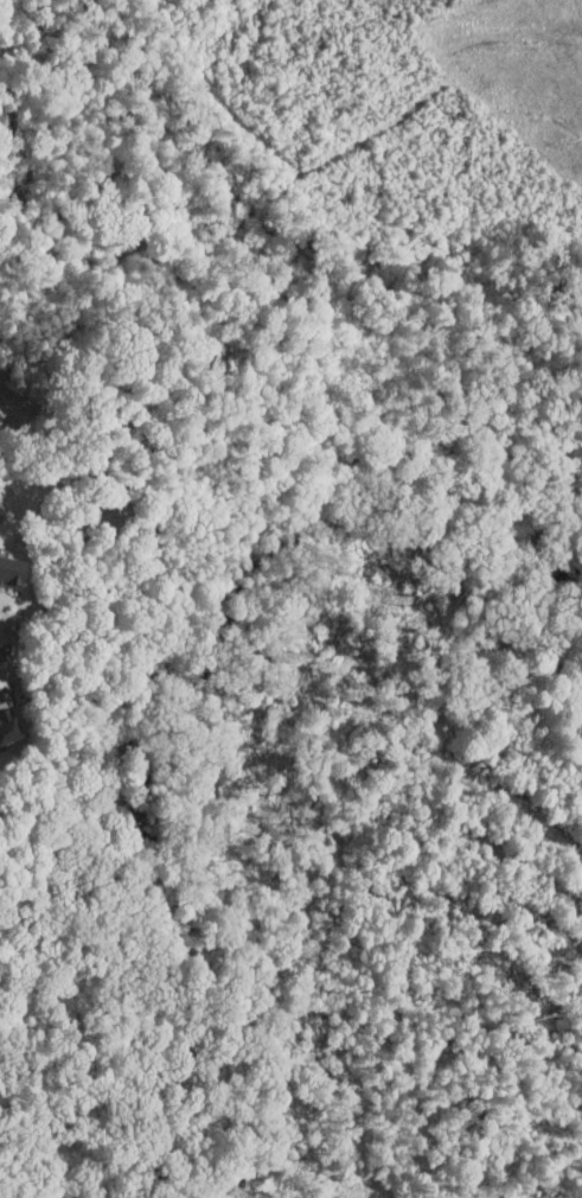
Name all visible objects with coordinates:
building: (8, 566)
building: (2, 724)

